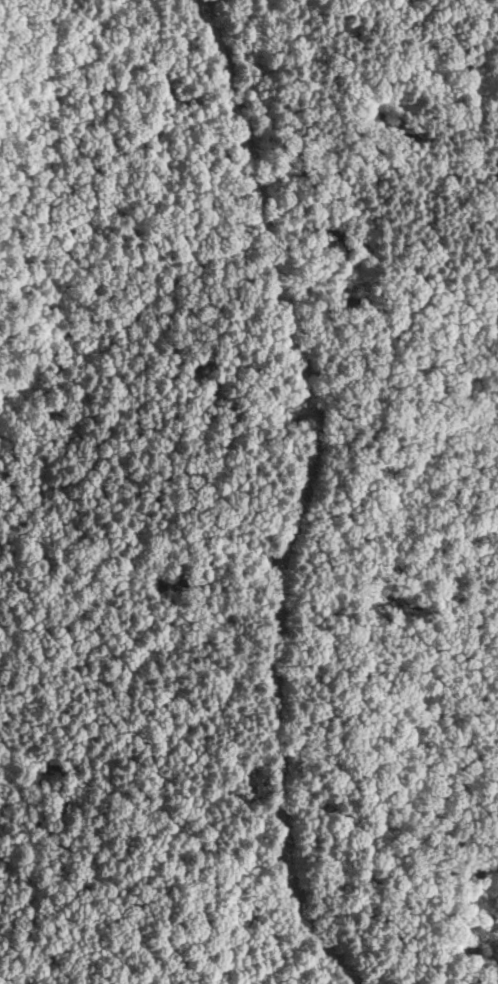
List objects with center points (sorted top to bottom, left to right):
road: (299, 494)

